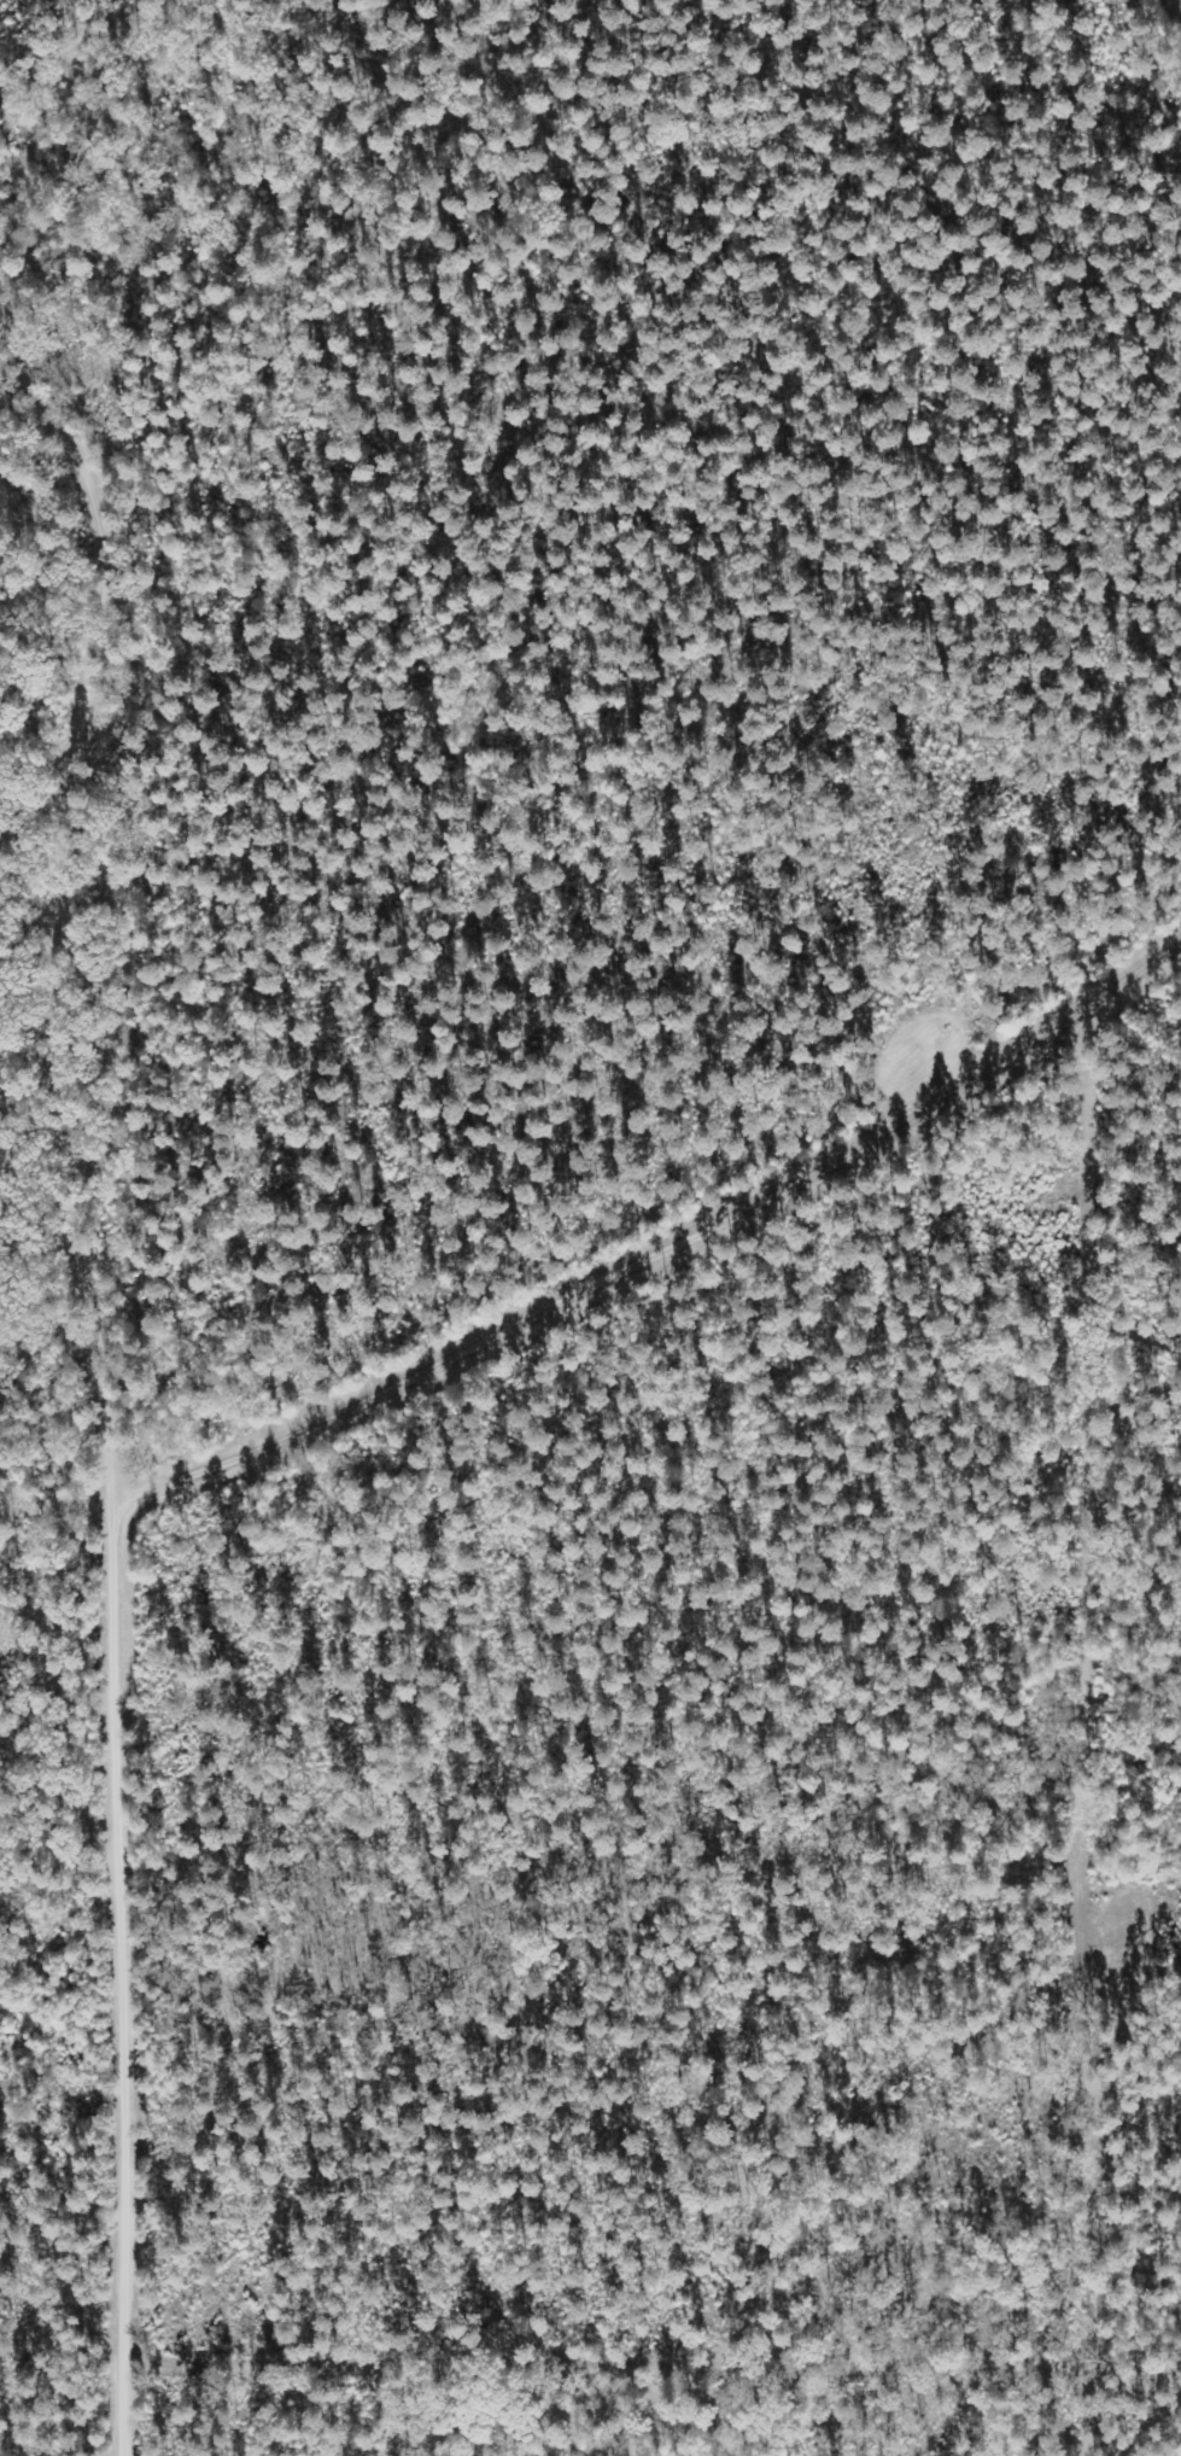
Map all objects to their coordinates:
road: (621, 1299)
road: (103, 1384)

